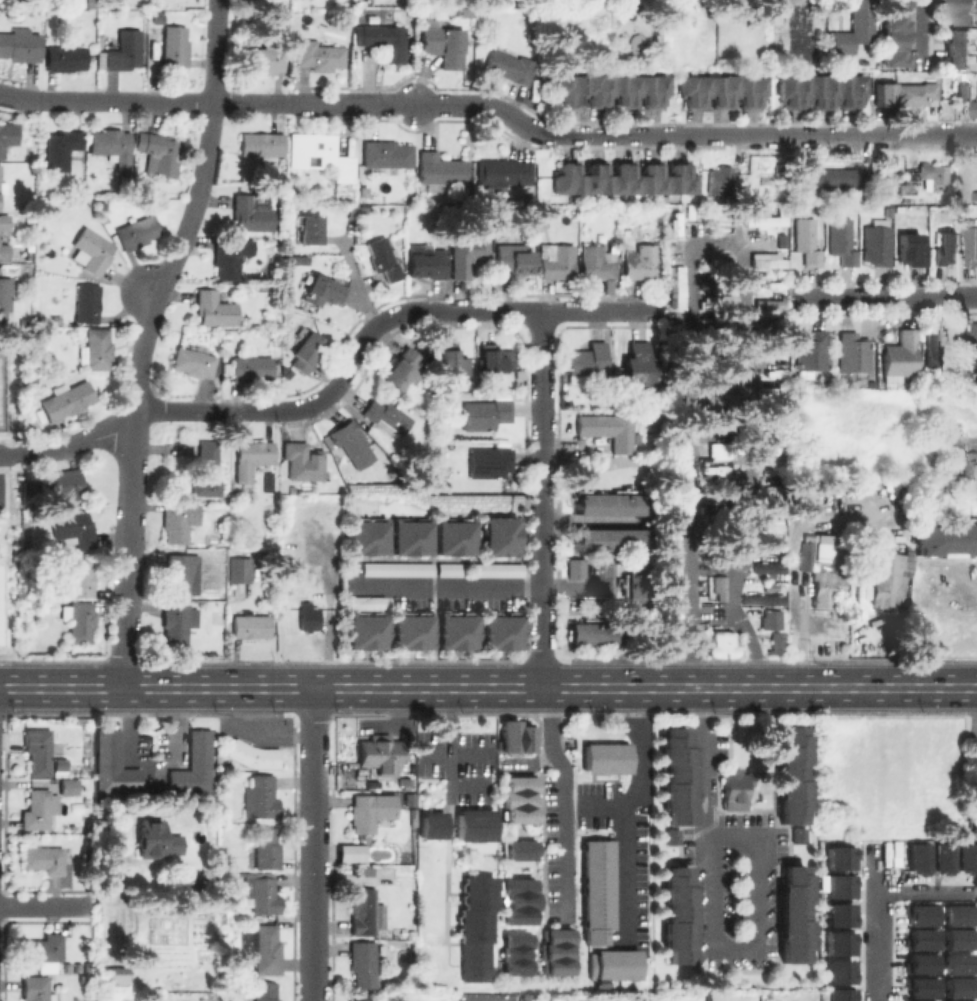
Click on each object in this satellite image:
building: (459, 11)
building: (965, 11)
building: (159, 16)
building: (853, 28)
building: (894, 32)
road: (920, 33)
building: (386, 40)
building: (445, 45)
building: (20, 47)
building: (177, 48)
building: (958, 50)
building: (125, 51)
building: (319, 55)
building: (66, 58)
building: (264, 58)
building: (510, 67)
building: (611, 91)
building: (964, 91)
building: (722, 92)
building: (820, 92)
building: (906, 92)
road: (17, 95)
road: (161, 100)
road: (321, 103)
building: (975, 108)
road: (541, 134)
road: (922, 134)
road: (800, 135)
building: (7, 136)
building: (263, 145)
building: (113, 146)
building: (63, 148)
building: (161, 153)
building: (321, 154)
building: (387, 154)
building: (440, 170)
building: (500, 174)
building: (835, 177)
building: (927, 177)
building: (624, 180)
building: (719, 180)
building: (2, 184)
building: (361, 190)
building: (100, 206)
building: (361, 209)
building: (252, 211)
building: (656, 214)
building: (718, 218)
building: (767, 223)
building: (311, 229)
building: (137, 232)
building: (677, 232)
building: (4, 238)
road: (722, 241)
building: (841, 242)
building: (973, 244)
building: (769, 245)
building: (808, 245)
building: (877, 245)
building: (949, 249)
building: (93, 250)
building: (912, 251)
building: (466, 253)
building: (29, 254)
building: (232, 256)
building: (383, 258)
building: (512, 259)
building: (297, 260)
building: (425, 261)
building: (558, 262)
building: (642, 262)
building: (596, 263)
building: (720, 263)
building: (766, 265)
road: (356, 285)
building: (771, 285)
building: (322, 290)
building: (681, 290)
road: (149, 291)
road: (886, 298)
building: (87, 302)
building: (718, 302)
building: (771, 306)
building: (215, 308)
road: (509, 312)
building: (5, 313)
building: (245, 320)
building: (725, 324)
building: (975, 336)
road: (145, 338)
building: (96, 349)
building: (305, 350)
building: (811, 351)
building: (852, 353)
building: (940, 355)
building: (900, 358)
building: (494, 359)
building: (586, 359)
building: (452, 360)
building: (194, 361)
building: (636, 364)
building: (226, 367)
building: (251, 368)
building: (399, 369)
building: (716, 375)
road: (344, 376)
park: (2, 390)
building: (67, 399)
building: (720, 399)
road: (162, 411)
building: (483, 413)
building: (387, 414)
building: (30, 424)
building: (607, 429)
building: (352, 443)
building: (718, 446)
road: (12, 453)
building: (251, 457)
building: (964, 460)
building: (303, 462)
building: (489, 462)
building: (671, 462)
building: (712, 468)
building: (207, 469)
building: (64, 485)
building: (715, 494)
road: (541, 499)
building: (611, 504)
building: (672, 511)
building: (179, 519)
building: (74, 528)
building: (365, 535)
building: (408, 536)
building: (452, 536)
building: (497, 536)
building: (808, 537)
building: (610, 539)
building: (944, 539)
building: (806, 557)
building: (4, 567)
building: (572, 567)
building: (672, 567)
building: (766, 567)
building: (394, 568)
building: (450, 569)
building: (494, 569)
building: (180, 571)
building: (238, 571)
building: (80, 577)
building: (888, 577)
building: (314, 581)
building: (630, 584)
building: (827, 584)
road: (442, 585)
road: (574, 585)
building: (718, 589)
building: (759, 599)
building: (364, 602)
building: (309, 616)
road: (714, 616)
building: (672, 618)
building: (767, 619)
building: (79, 620)
building: (175, 622)
building: (251, 626)
building: (363, 630)
building: (408, 630)
building: (453, 630)
building: (499, 630)
building: (589, 631)
building: (0, 637)
building: (774, 642)
building: (724, 647)
road: (488, 687)
road: (397, 728)
building: (506, 735)
building: (522, 737)
building: (36, 750)
road: (458, 753)
building: (380, 754)
road: (454, 754)
building: (252, 755)
building: (606, 757)
road: (699, 760)
building: (113, 764)
building: (194, 765)
building: (676, 773)
building: (791, 773)
building: (519, 782)
road: (313, 786)
building: (67, 788)
building: (734, 791)
building: (262, 794)
road: (564, 797)
building: (514, 799)
road: (600, 803)
road: (623, 807)
building: (38, 809)
building: (370, 810)
building: (520, 814)
building: (433, 825)
building: (475, 829)
road: (754, 833)
building: (796, 835)
building: (669, 836)
building: (157, 842)
building: (266, 847)
building: (518, 850)
building: (837, 857)
building: (915, 857)
building: (939, 857)
building: (963, 857)
building: (42, 858)
building: (365, 872)
building: (837, 885)
building: (597, 889)
building: (260, 894)
building: (516, 900)
road: (47, 906)
road: (874, 907)
building: (477, 909)
building: (363, 911)
building: (678, 913)
building: (837, 914)
building: (918, 914)
building: (956, 914)
building: (794, 916)
building: (956, 938)
building: (918, 939)
building: (837, 942)
road: (313, 943)
building: (267, 948)
building: (42, 950)
building: (555, 951)
building: (514, 953)
building: (476, 962)
building: (363, 963)
building: (917, 963)
building: (955, 963)
building: (613, 964)
building: (837, 971)
building: (113, 977)
building: (917, 986)
building: (956, 986)
building: (36, 989)
building: (263, 991)
building: (838, 994)
building: (362, 1000)
building: (924, 1000)
building: (957, 1000)

